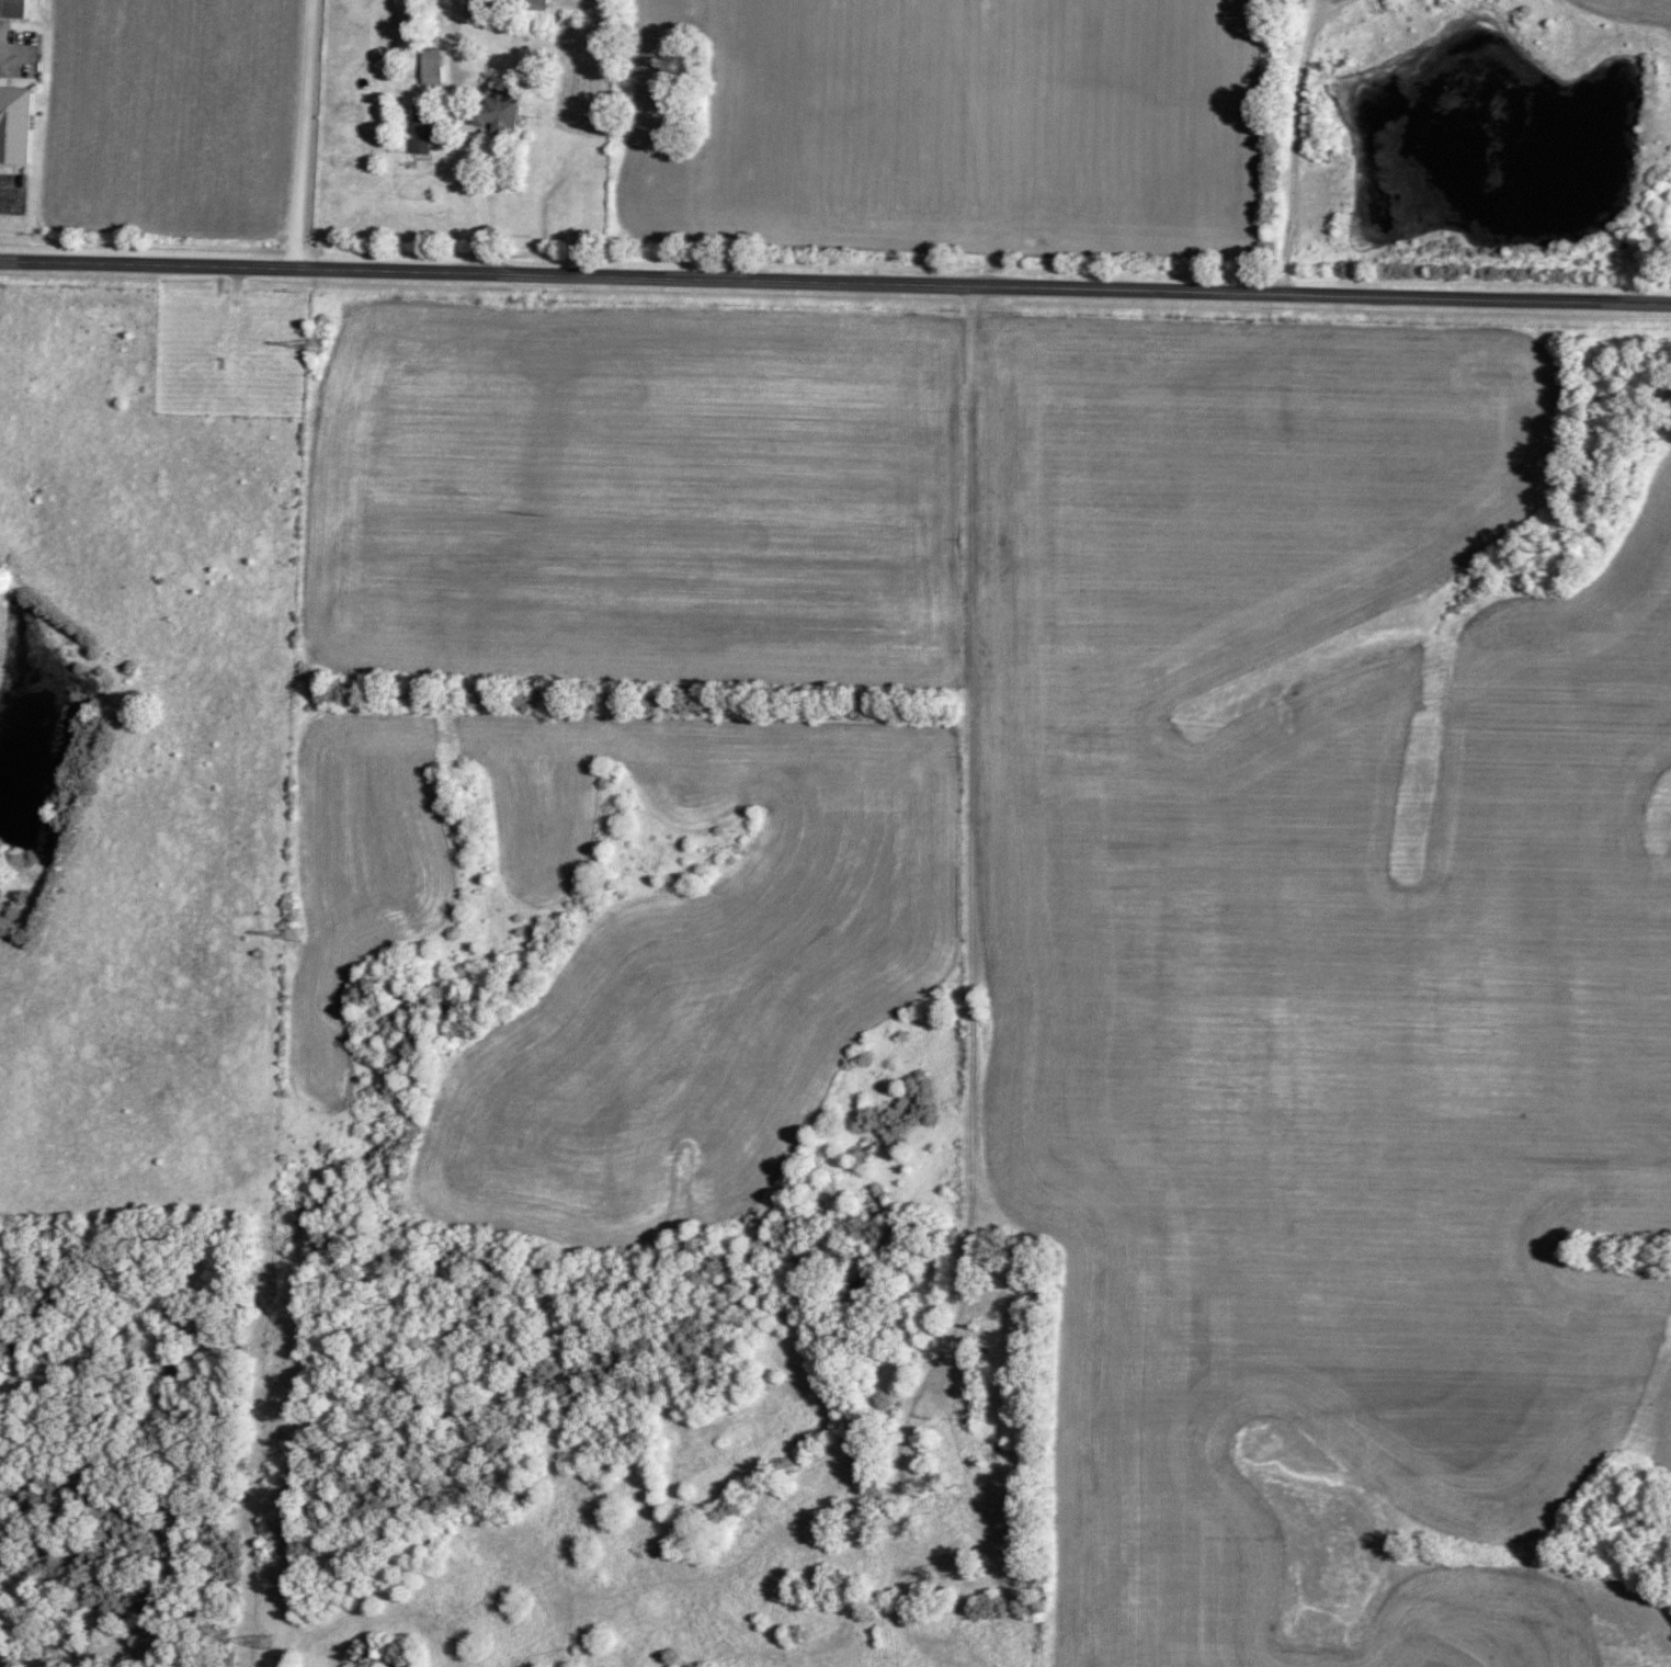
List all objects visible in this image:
building: (537, 3)
building: (15, 10)
building: (433, 68)
building: (498, 113)
building: (16, 126)
building: (424, 127)
road: (302, 138)
road: (468, 144)
road: (835, 288)
power tower: (320, 347)
road: (971, 904)
power tower: (295, 940)
building: (934, 1544)
building: (798, 1611)
building: (265, 1643)
power tower: (261, 1646)
building: (776, 1660)

